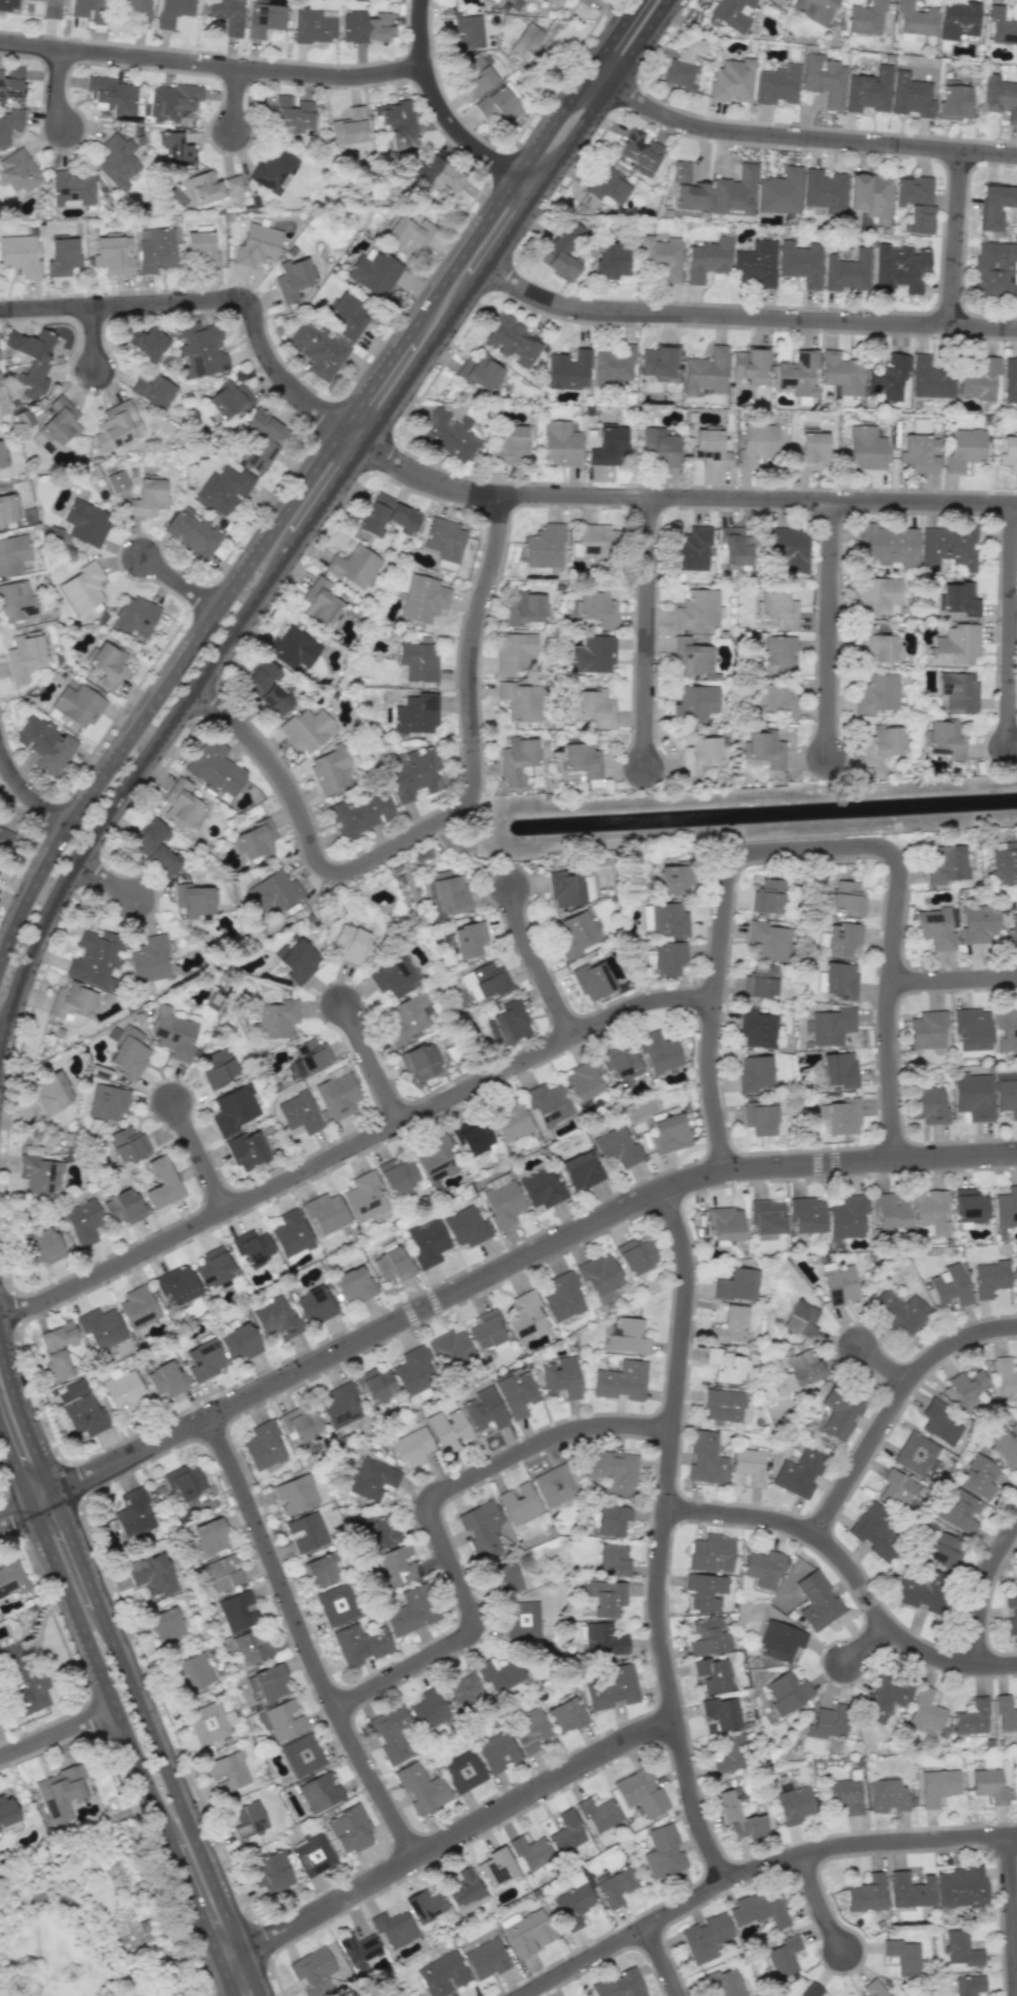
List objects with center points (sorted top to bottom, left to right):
building: (491, 1)
building: (587, 1)
building: (133, 6)
building: (51, 8)
building: (89, 9)
building: (814, 10)
building: (172, 11)
building: (226, 14)
building: (730, 14)
building: (264, 18)
building: (865, 18)
building: (915, 19)
building: (958, 20)
building: (314, 25)
building: (1001, 26)
building: (364, 27)
building: (467, 31)
road: (611, 37)
building: (527, 43)
road: (212, 64)
building: (683, 65)
building: (473, 75)
building: (823, 79)
building: (732, 80)
building: (11, 82)
building: (776, 85)
road: (60, 88)
building: (868, 90)
building: (112, 95)
building: (910, 95)
building: (1000, 97)
road: (239, 98)
road: (602, 98)
building: (954, 100)
building: (172, 102)
building: (498, 104)
building: (291, 114)
road: (446, 114)
building: (10, 123)
building: (398, 123)
building: (349, 127)
road: (795, 136)
building: (173, 149)
building: (638, 152)
building: (117, 161)
building: (18, 171)
building: (273, 171)
building: (438, 174)
building: (232, 184)
building: (610, 186)
building: (201, 188)
building: (687, 188)
building: (72, 189)
building: (824, 190)
building: (780, 192)
building: (734, 193)
building: (870, 195)
building: (916, 202)
building: (995, 205)
road: (494, 206)
building: (406, 234)
road: (959, 238)
road: (503, 239)
building: (257, 245)
building: (201, 249)
building: (157, 250)
building: (561, 250)
building: (113, 254)
building: (19, 255)
building: (62, 255)
building: (661, 256)
building: (707, 259)
building: (610, 261)
building: (800, 263)
building: (756, 264)
building: (899, 269)
building: (994, 270)
building: (847, 271)
building: (373, 272)
building: (292, 278)
road: (204, 298)
road: (745, 315)
building: (347, 316)
road: (95, 337)
building: (510, 340)
building: (146, 341)
building: (200, 348)
building: (318, 349)
building: (30, 359)
building: (658, 360)
road: (419, 364)
building: (749, 365)
building: (613, 366)
building: (568, 370)
building: (479, 371)
building: (705, 371)
building: (797, 373)
building: (841, 373)
building: (887, 377)
building: (930, 378)
building: (978, 379)
building: (1010, 379)
road: (373, 383)
building: (153, 392)
building: (229, 398)
building: (59, 422)
building: (116, 426)
building: (448, 434)
road: (353, 436)
building: (263, 440)
building: (560, 443)
building: (508, 444)
building: (756, 444)
building: (608, 445)
building: (660, 448)
building: (865, 448)
building: (710, 449)
building: (964, 449)
building: (811, 450)
building: (1009, 452)
building: (917, 454)
building: (1, 456)
building: (116, 480)
building: (223, 488)
road: (685, 497)
building: (147, 498)
building: (7, 508)
building: (387, 516)
building: (86, 522)
building: (192, 532)
building: (887, 545)
building: (544, 546)
building: (734, 547)
building: (691, 549)
building: (787, 549)
building: (13, 553)
building: (354, 566)
road: (277, 568)
road: (181, 582)
building: (83, 588)
building: (876, 596)
building: (423, 599)
building: (959, 599)
building: (16, 602)
building: (320, 602)
building: (524, 608)
building: (777, 608)
building: (595, 609)
building: (697, 609)
building: (134, 616)
road: (1013, 625)
road: (831, 628)
road: (647, 631)
building: (954, 646)
building: (293, 647)
building: (876, 648)
building: (514, 651)
building: (591, 654)
building: (776, 655)
building: (24, 656)
building: (690, 656)
building: (418, 661)
building: (106, 664)
road: (164, 687)
building: (266, 687)
building: (959, 691)
building: (876, 693)
building: (519, 700)
building: (774, 700)
building: (695, 703)
building: (78, 705)
building: (594, 707)
building: (416, 713)
building: (307, 729)
building: (944, 739)
building: (881, 743)
building: (45, 744)
building: (762, 748)
building: (699, 754)
building: (582, 759)
building: (517, 761)
building: (215, 768)
building: (330, 770)
building: (414, 774)
road: (26, 795)
building: (181, 803)
building: (361, 814)
road: (438, 820)
building: (5, 838)
building: (254, 840)
building: (155, 846)
road: (812, 849)
road: (81, 854)
road: (472, 856)
building: (1004, 861)
building: (947, 865)
road: (105, 880)
building: (675, 880)
building: (565, 889)
building: (274, 891)
building: (448, 892)
building: (768, 897)
building: (848, 898)
building: (193, 902)
building: (668, 920)
building: (979, 924)
building: (1013, 927)
building: (935, 928)
building: (575, 933)
building: (469, 939)
building: (843, 939)
building: (768, 941)
building: (350, 943)
building: (96, 958)
building: (666, 958)
building: (149, 959)
building: (296, 959)
road: (538, 963)
building: (394, 975)
building: (485, 980)
building: (593, 980)
building: (839, 980)
building: (761, 982)
road: (954, 982)
building: (70, 1002)
building: (276, 1018)
building: (407, 1018)
building: (510, 1021)
building: (832, 1026)
building: (757, 1029)
building: (927, 1029)
building: (972, 1029)
building: (1006, 1030)
building: (173, 1034)
building: (129, 1051)
building: (658, 1051)
building: (310, 1055)
building: (420, 1062)
road: (373, 1063)
building: (621, 1065)
building: (216, 1068)
building: (840, 1070)
building: (753, 1073)
building: (582, 1082)
building: (50, 1093)
building: (337, 1095)
building: (974, 1095)
building: (1007, 1097)
building: (108, 1102)
building: (547, 1103)
building: (929, 1105)
building: (233, 1110)
building: (33, 1112)
building: (299, 1113)
building: (839, 1116)
building: (763, 1119)
building: (510, 1121)
building: (668, 1133)
building: (472, 1136)
building: (127, 1144)
road: (356, 1146)
building: (616, 1147)
building: (246, 1150)
road: (201, 1157)
building: (435, 1160)
building: (581, 1170)
building: (40, 1175)
building: (397, 1175)
building: (161, 1184)
building: (542, 1188)
building: (364, 1196)
building: (502, 1202)
building: (970, 1205)
building: (122, 1207)
building: (1006, 1209)
building: (890, 1210)
building: (325, 1212)
building: (930, 1212)
building: (806, 1215)
building: (767, 1217)
building: (847, 1217)
building: (83, 1221)
building: (725, 1223)
building: (466, 1227)
building: (291, 1234)
building: (427, 1243)
building: (43, 1247)
building: (252, 1247)
building: (636, 1256)
road: (517, 1262)
building: (392, 1264)
building: (213, 1268)
building: (1016, 1270)
building: (599, 1275)
building: (990, 1278)
building: (177, 1284)
building: (354, 1285)
building: (737, 1285)
building: (840, 1286)
building: (950, 1286)
building: (563, 1297)
building: (315, 1304)
building: (138, 1307)
building: (900, 1311)
building: (525, 1316)
building: (276, 1319)
building: (801, 1319)
building: (731, 1325)
building: (101, 1328)
building: (486, 1330)
building: (627, 1336)
building: (240, 1341)
building: (57, 1348)
building: (449, 1349)
building: (203, 1359)
road: (886, 1365)
building: (728, 1367)
building: (414, 1371)
building: (796, 1374)
building: (560, 1377)
building: (1005, 1377)
building: (165, 1380)
building: (621, 1380)
building: (375, 1384)
building: (968, 1387)
building: (70, 1391)
building: (124, 1392)
building: (516, 1393)
building: (339, 1405)
building: (723, 1405)
road: (895, 1407)
building: (485, 1409)
building: (84, 1415)
building: (839, 1415)
road: (21, 1420)
building: (302, 1422)
building: (939, 1423)
building: (447, 1429)
building: (265, 1445)
building: (1005, 1445)
building: (412, 1446)
building: (915, 1454)
building: (706, 1458)
building: (749, 1466)
road: (15, 1467)
building: (613, 1470)
building: (800, 1471)
building: (979, 1477)
building: (372, 1478)
building: (184, 1484)
building: (554, 1485)
building: (896, 1488)
building: (296, 1493)
road: (41, 1498)
building: (518, 1504)
road: (14, 1511)
building: (958, 1511)
building: (133, 1514)
road: (433, 1518)
building: (612, 1519)
building: (481, 1528)
building: (875, 1531)
building: (306, 1532)
building: (376, 1532)
building: (211, 1536)
road: (664, 1538)
road: (75, 1549)
building: (942, 1549)
building: (711, 1553)
building: (612, 1559)
building: (397, 1565)
building: (764, 1568)
building: (320, 1571)
road: (853, 1572)
building: (222, 1573)
building: (152, 1575)
building: (12, 1578)
building: (504, 1580)
building: (705, 1590)
building: (921, 1590)
road: (984, 1594)
building: (605, 1597)
building: (817, 1600)
building: (336, 1604)
building: (1011, 1608)
building: (237, 1611)
building: (411, 1611)
building: (522, 1619)
building: (164, 1626)
building: (709, 1637)
road: (304, 1640)
building: (604, 1640)
building: (781, 1640)
building: (360, 1644)
building: (252, 1646)
road: (868, 1646)
building: (13, 1658)
building: (192, 1672)
road: (100, 1673)
building: (499, 1674)
building: (712, 1674)
building: (271, 1682)
building: (612, 1687)
building: (464, 1690)
building: (29, 1693)
building: (786, 1693)
building: (885, 1697)
building: (428, 1710)
building: (925, 1710)
building: (722, 1712)
building: (1005, 1714)
building: (566, 1716)
building: (972, 1718)
building: (285, 1719)
building: (829, 1722)
building: (209, 1723)
building: (529, 1730)
road: (57, 1731)
building: (391, 1734)
building: (496, 1752)
building: (731, 1754)
building: (302, 1755)
building: (463, 1771)
building: (228, 1772)
road: (168, 1778)
building: (989, 1785)
building: (938, 1786)
building: (421, 1788)
building: (320, 1791)
building: (640, 1792)
building: (59, 1793)
building: (888, 1795)
building: (843, 1796)
building: (795, 1804)
building: (6, 1812)
building: (598, 1814)
building: (737, 1814)
building: (248, 1819)
building: (350, 1829)
building: (566, 1832)
road: (458, 1834)
road: (870, 1842)
building: (529, 1851)
building: (663, 1852)
building: (313, 1855)
building: (496, 1867)
building: (271, 1872)
building: (616, 1887)
building: (962, 1887)
building: (463, 1889)
building: (910, 1890)
building: (867, 1893)
road: (195, 1903)
road: (819, 1903)
building: (573, 1904)
building: (424, 1906)
building: (760, 1909)
road: (1011, 1915)
building: (393, 1928)
building: (526, 1932)
road: (623, 1937)
building: (705, 1937)
building: (960, 1949)
building: (359, 1951)
road: (103, 1952)
building: (903, 1956)
road: (230, 1957)
building: (486, 1959)
building: (784, 1959)
road: (661, 1960)
building: (312, 1972)
road: (249, 1973)
building: (441, 1974)
road: (226, 1979)
building: (724, 1982)
building: (619, 1985)
building: (969, 1985)
building: (873, 1988)
building: (813, 1990)

